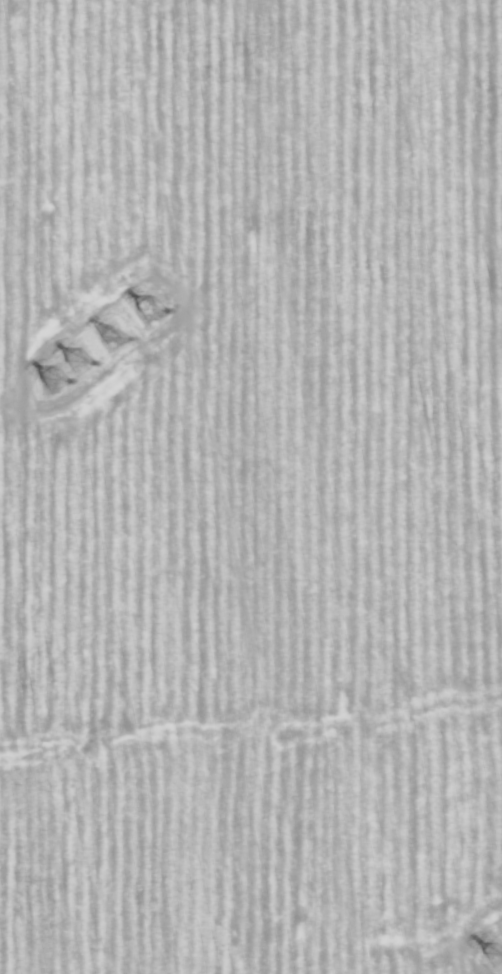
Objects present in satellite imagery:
power tower: (153, 312)
power tower: (114, 335)
power tower: (57, 373)
power tower: (488, 960)

